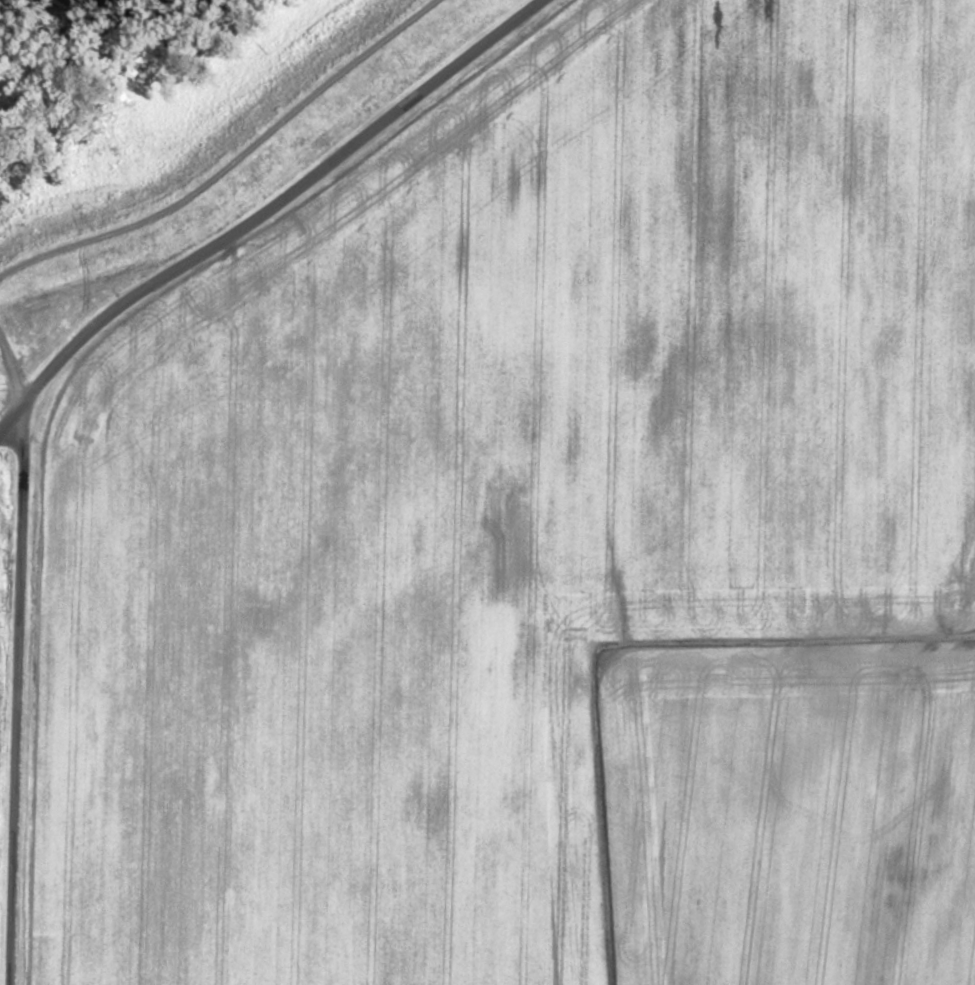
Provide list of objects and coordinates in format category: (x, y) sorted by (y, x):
road: (330, 204)
road: (13, 415)
road: (61, 689)

